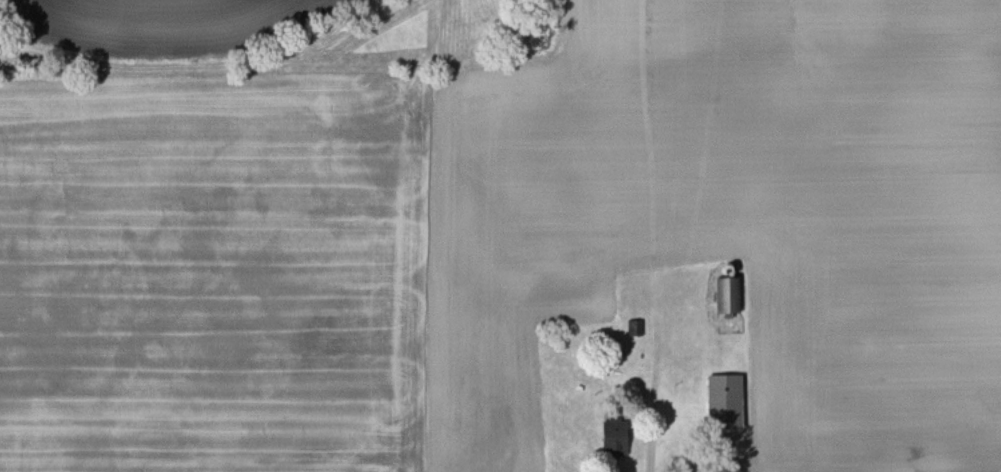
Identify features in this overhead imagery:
building: (722, 308)
building: (718, 402)
building: (606, 439)

